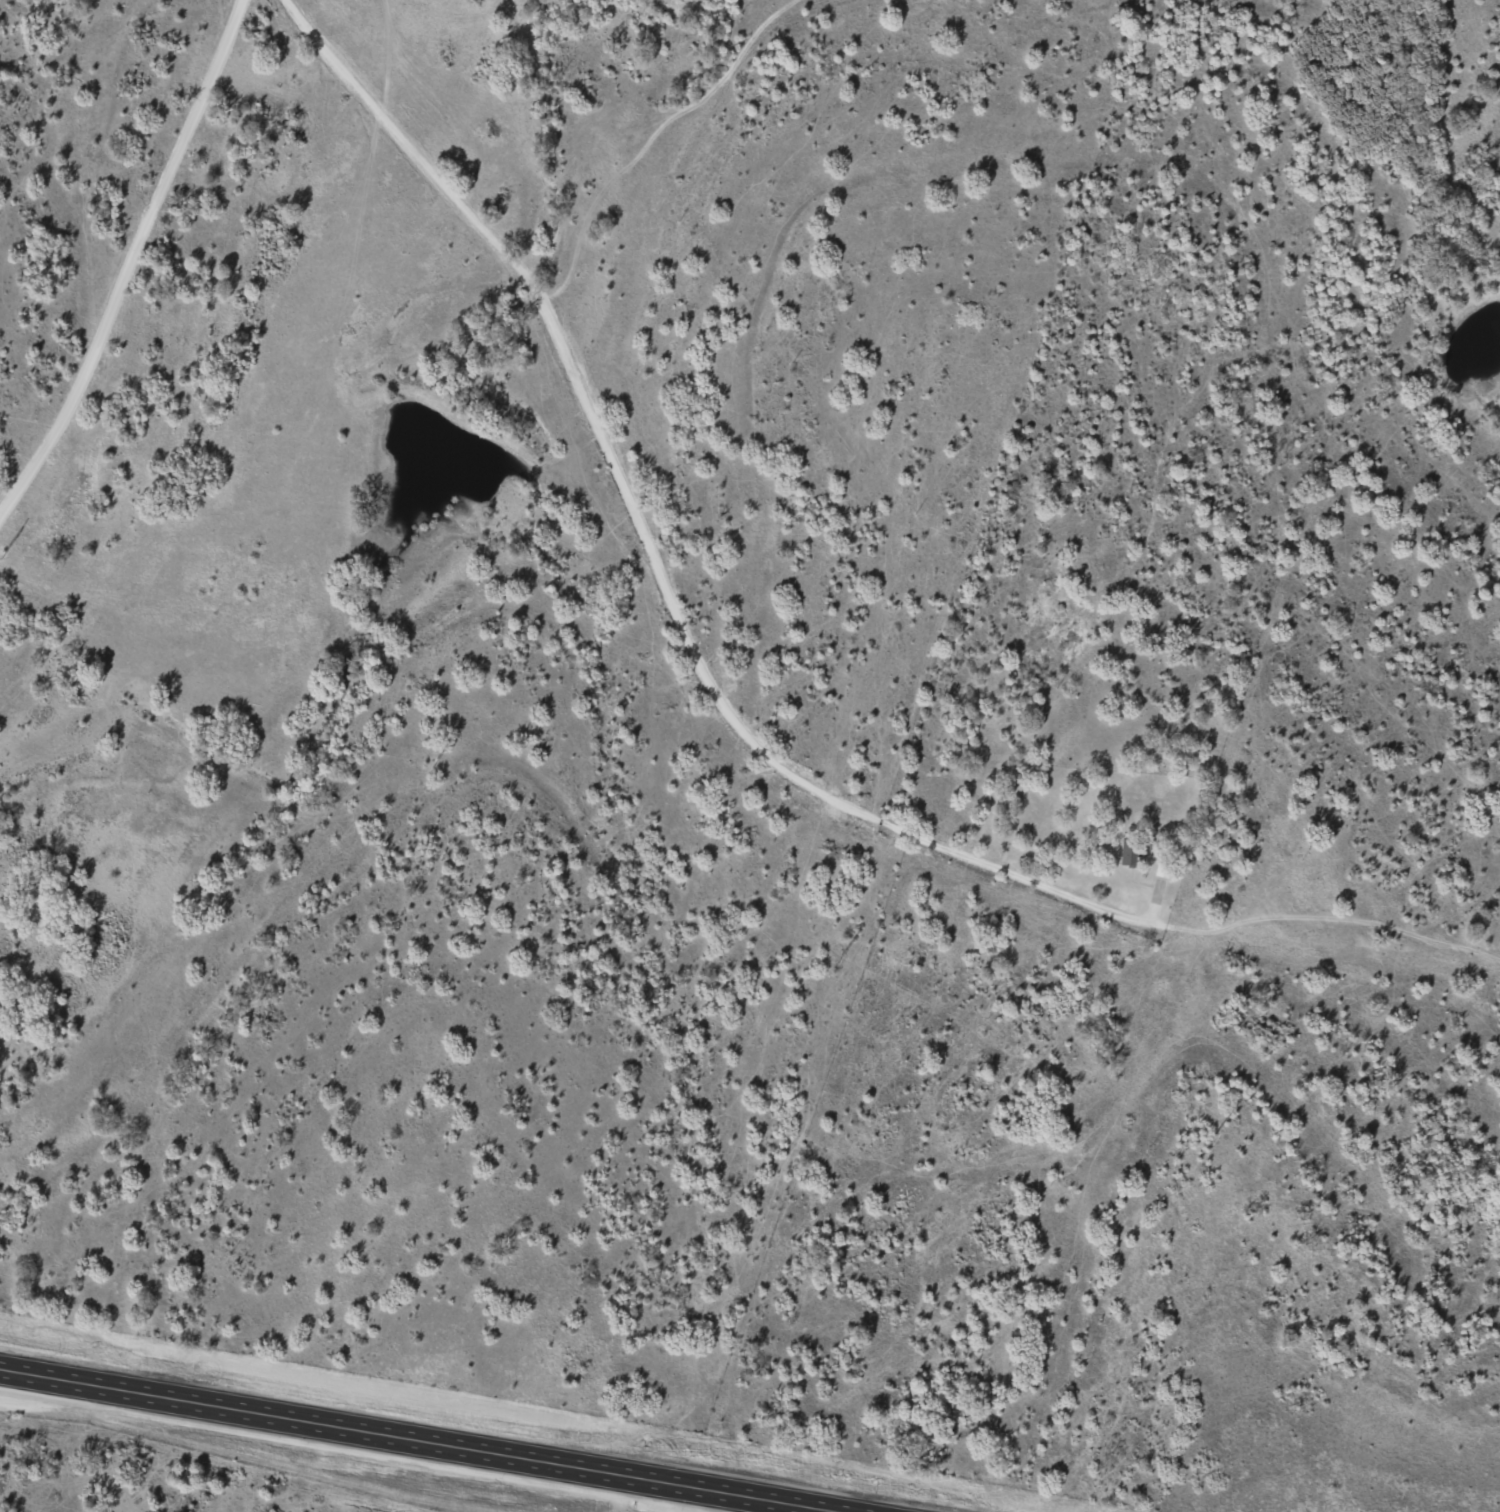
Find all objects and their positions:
road: (109, 236)
power tower: (1, 554)
road: (726, 694)
power tower: (434, 762)
building: (1130, 851)
building: (1163, 870)
power tower: (839, 958)
power tower: (1211, 1137)
road: (407, 1441)

